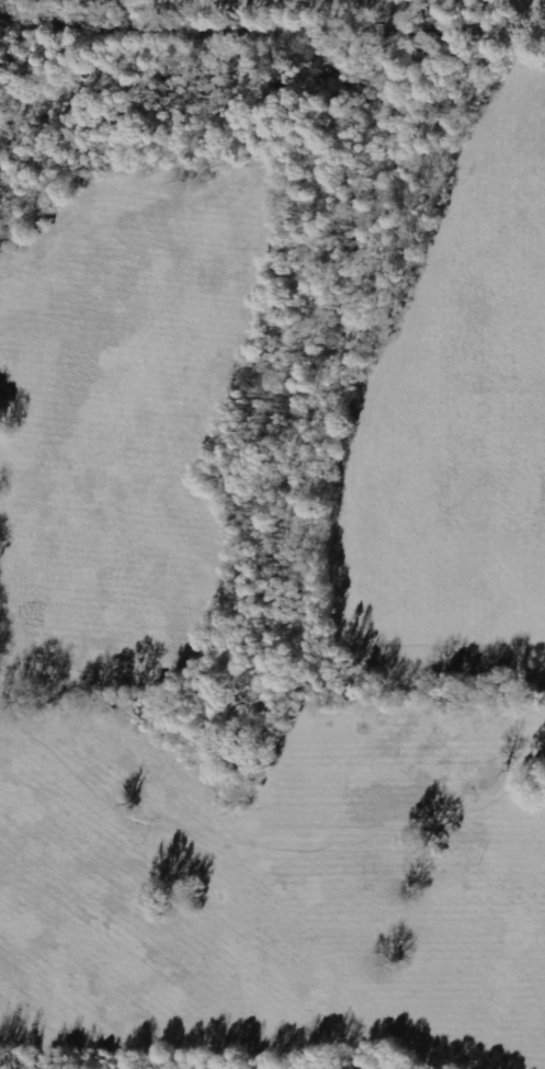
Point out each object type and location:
road: (319, 14)
road: (271, 27)

